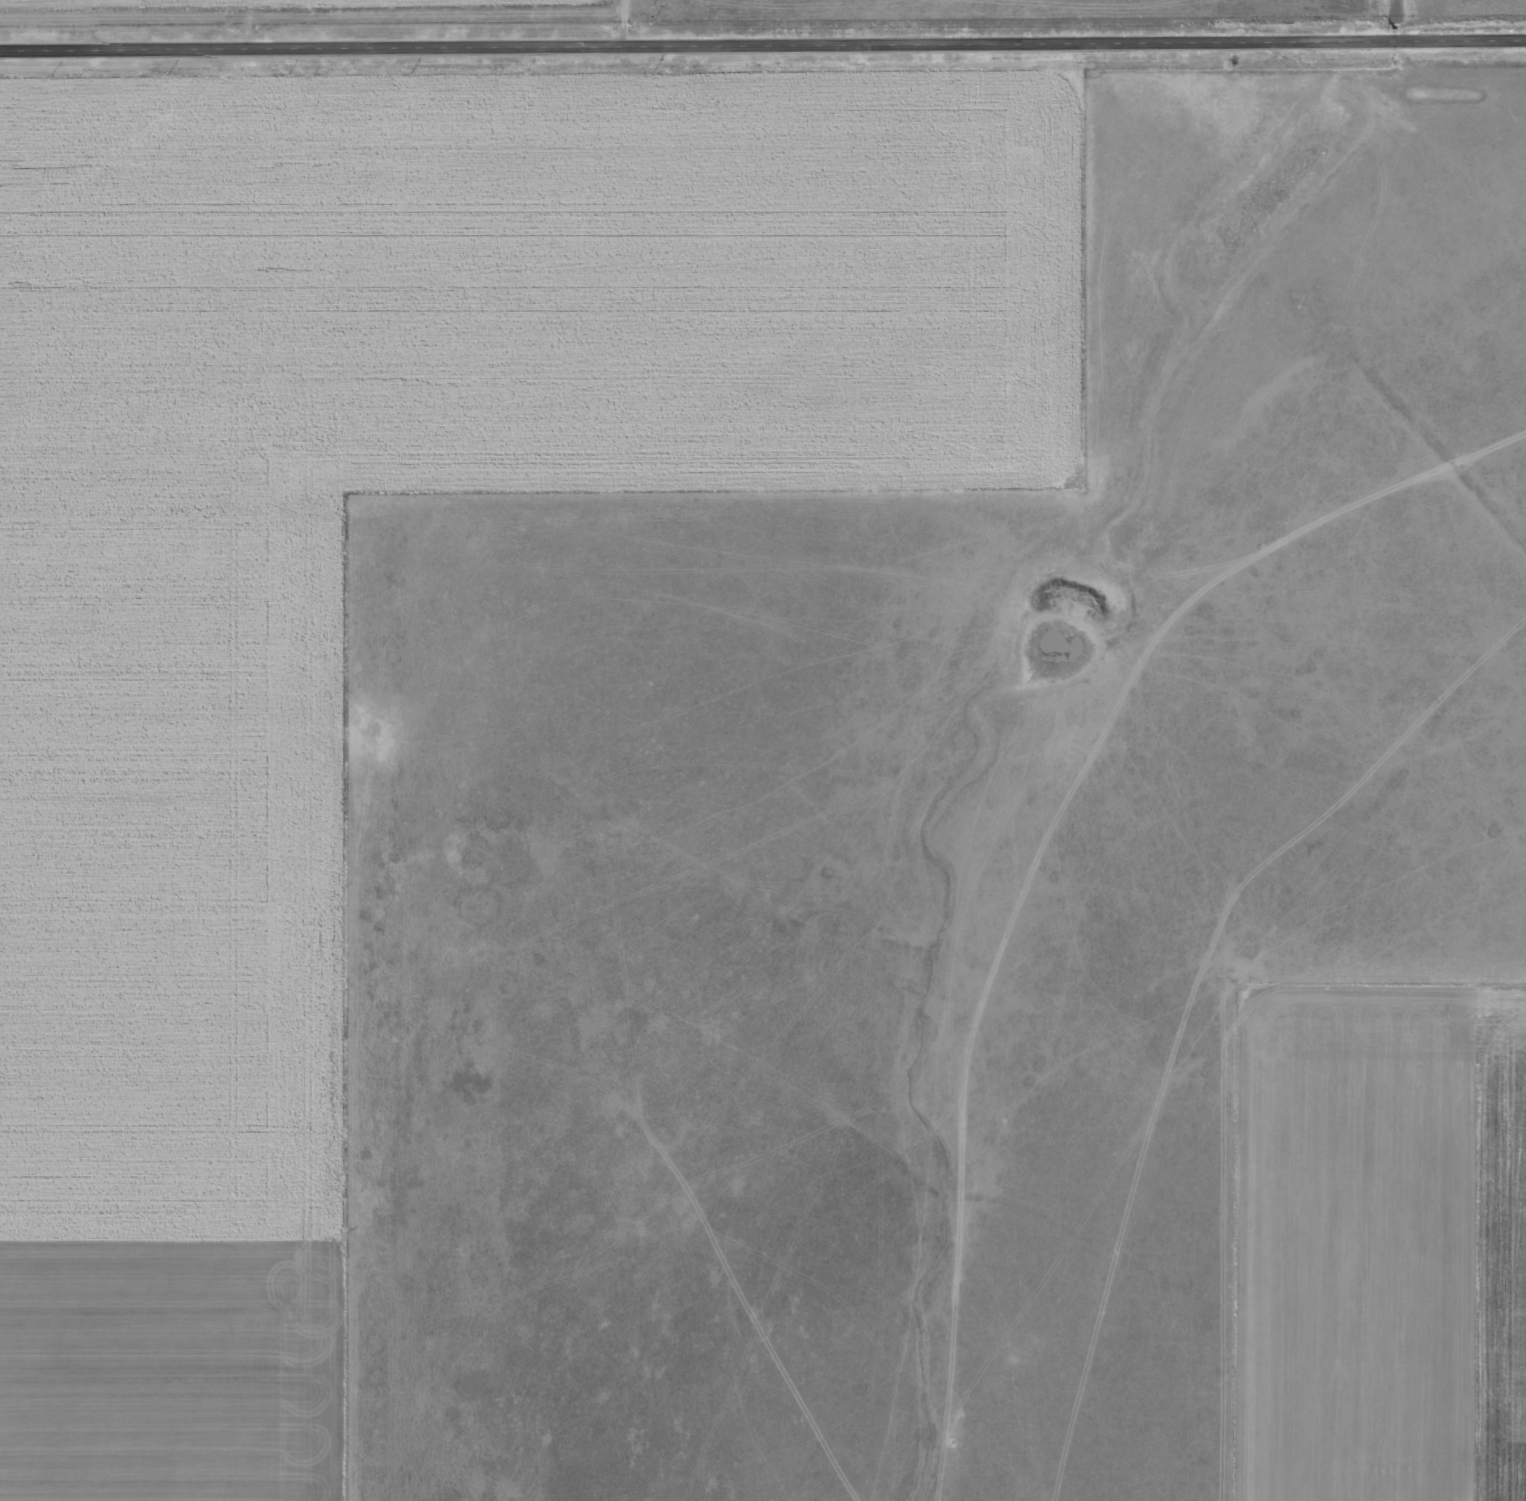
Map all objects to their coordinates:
road: (638, 23)
road: (762, 46)

